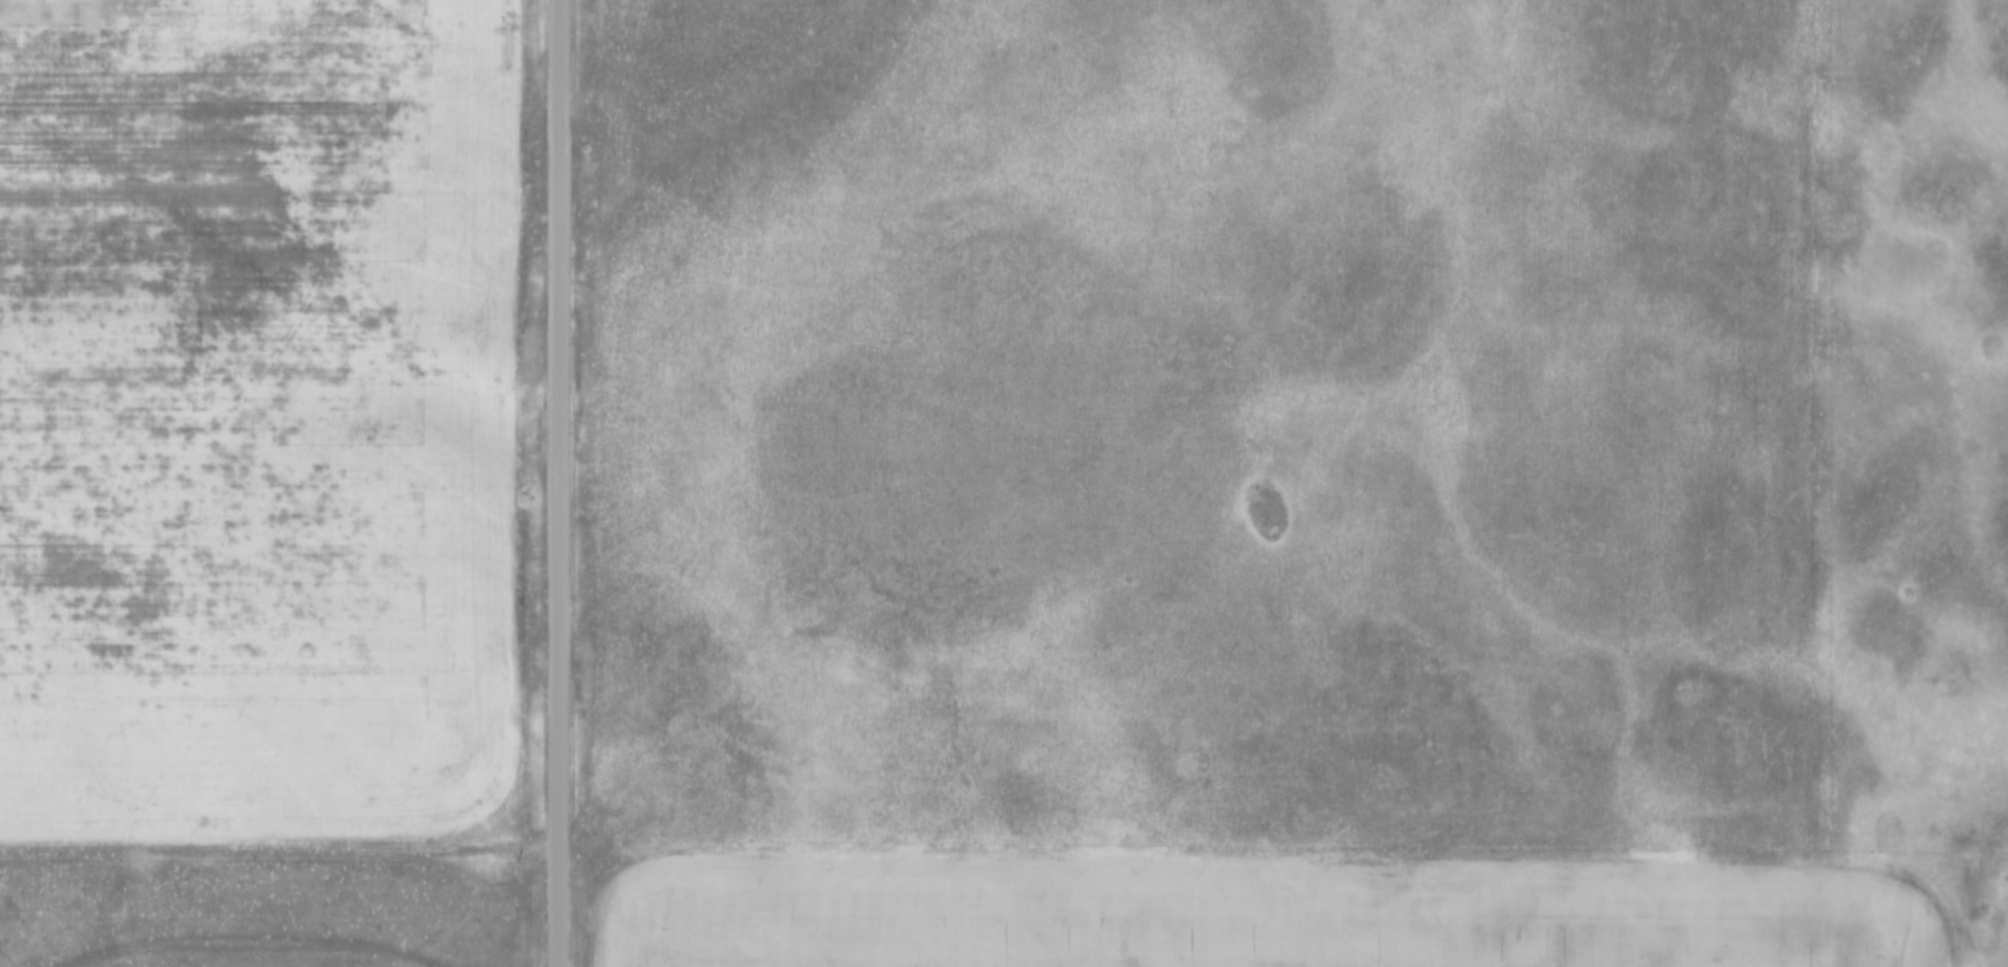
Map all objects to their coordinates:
road: (559, 483)

